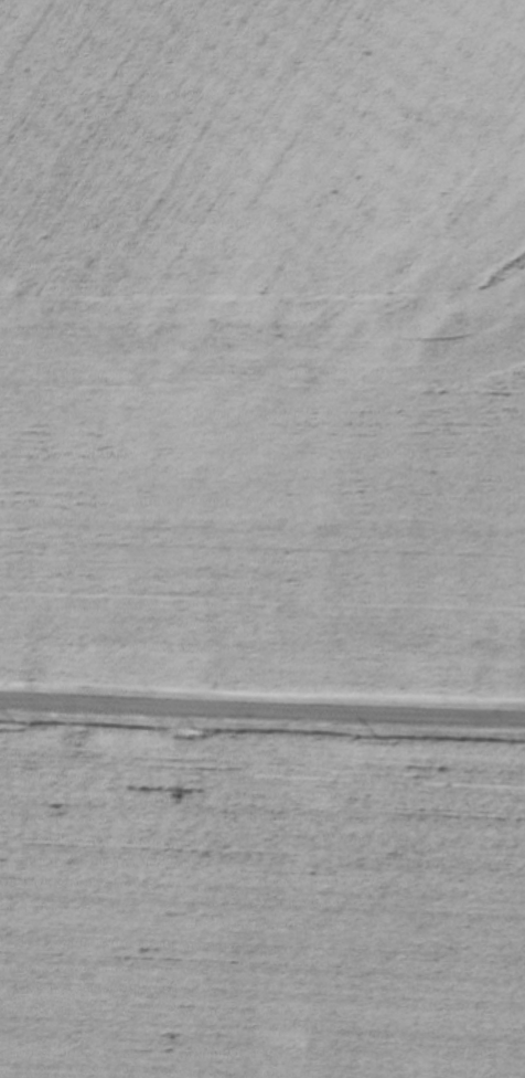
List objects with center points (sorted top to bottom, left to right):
road: (261, 711)

